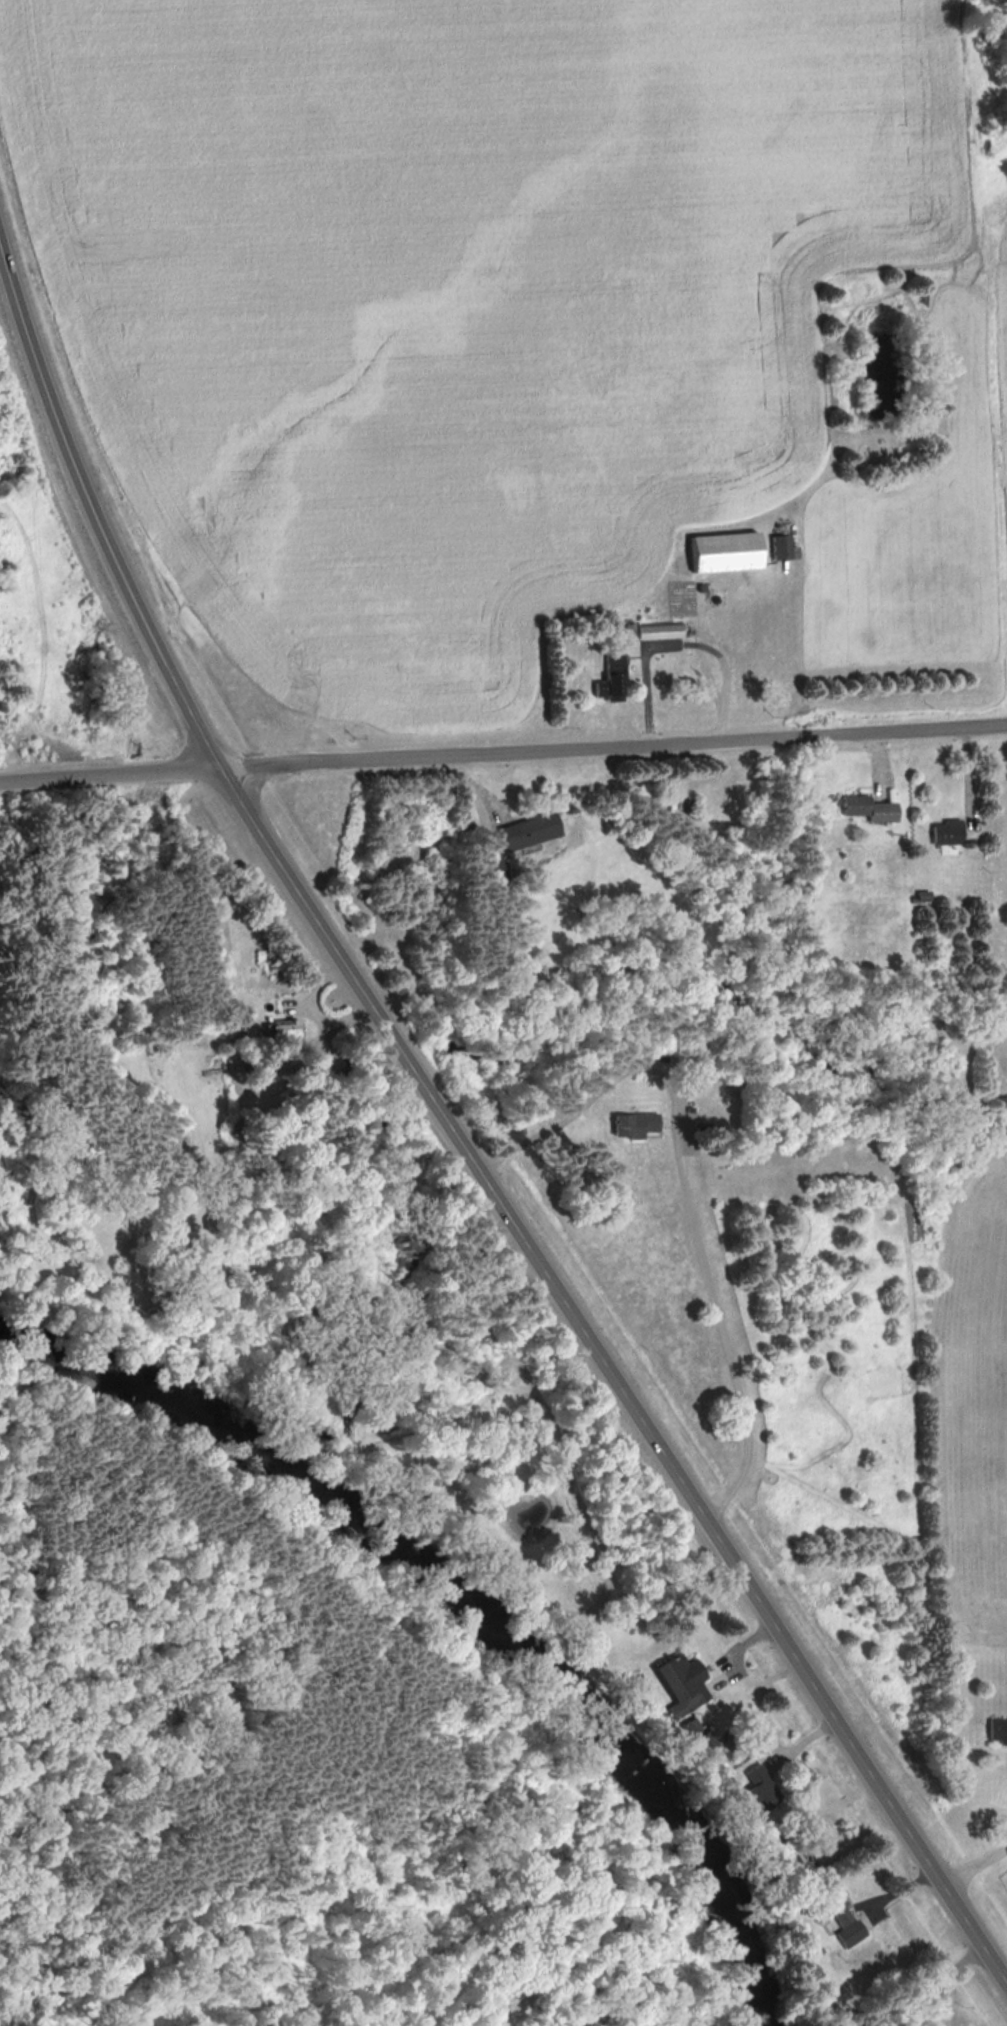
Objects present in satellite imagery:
road: (94, 518)
building: (778, 548)
building: (719, 553)
building: (654, 631)
building: (604, 675)
road: (609, 746)
road: (105, 775)
building: (864, 808)
building: (523, 830)
building: (942, 831)
building: (278, 1030)
building: (629, 1124)
road: (683, 1191)
road: (611, 1374)
river: (455, 1618)
building: (676, 1683)
building: (995, 1729)
building: (756, 1788)
road: (973, 1861)
building: (834, 1915)
building: (807, 1948)

